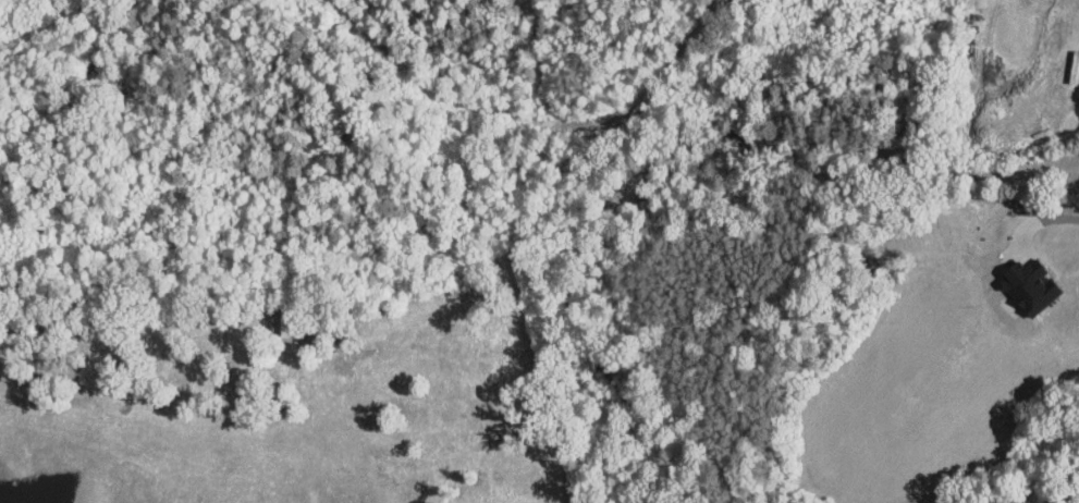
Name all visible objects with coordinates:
road: (1074, 219)
building: (1027, 286)

